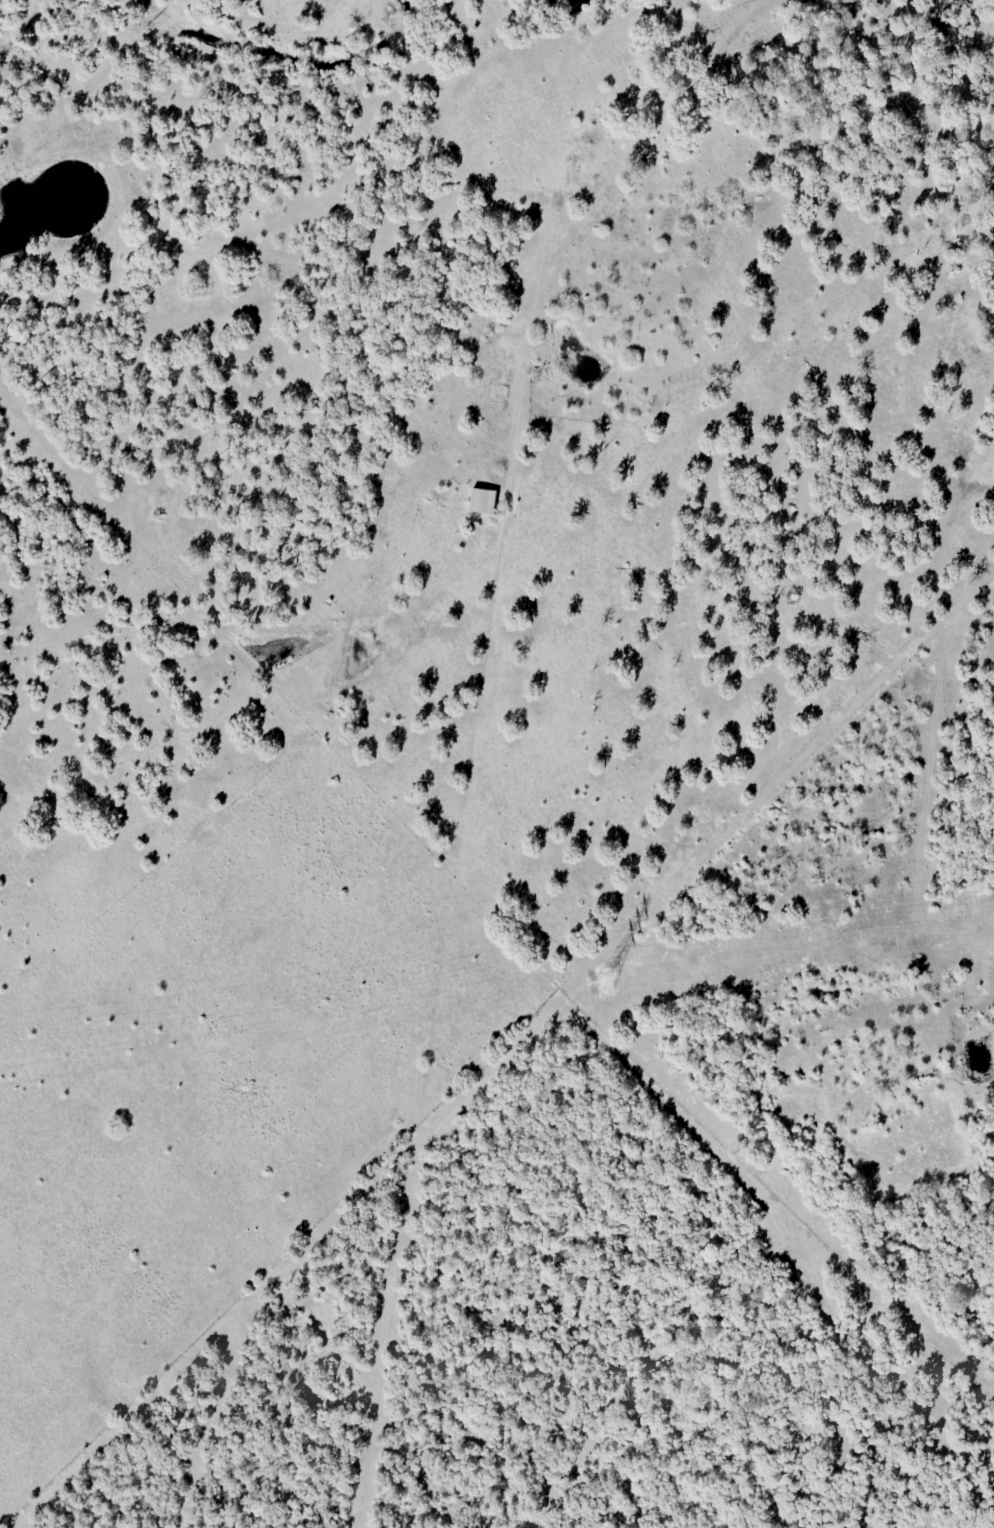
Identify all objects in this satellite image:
building: (485, 500)
power tower: (606, 981)

